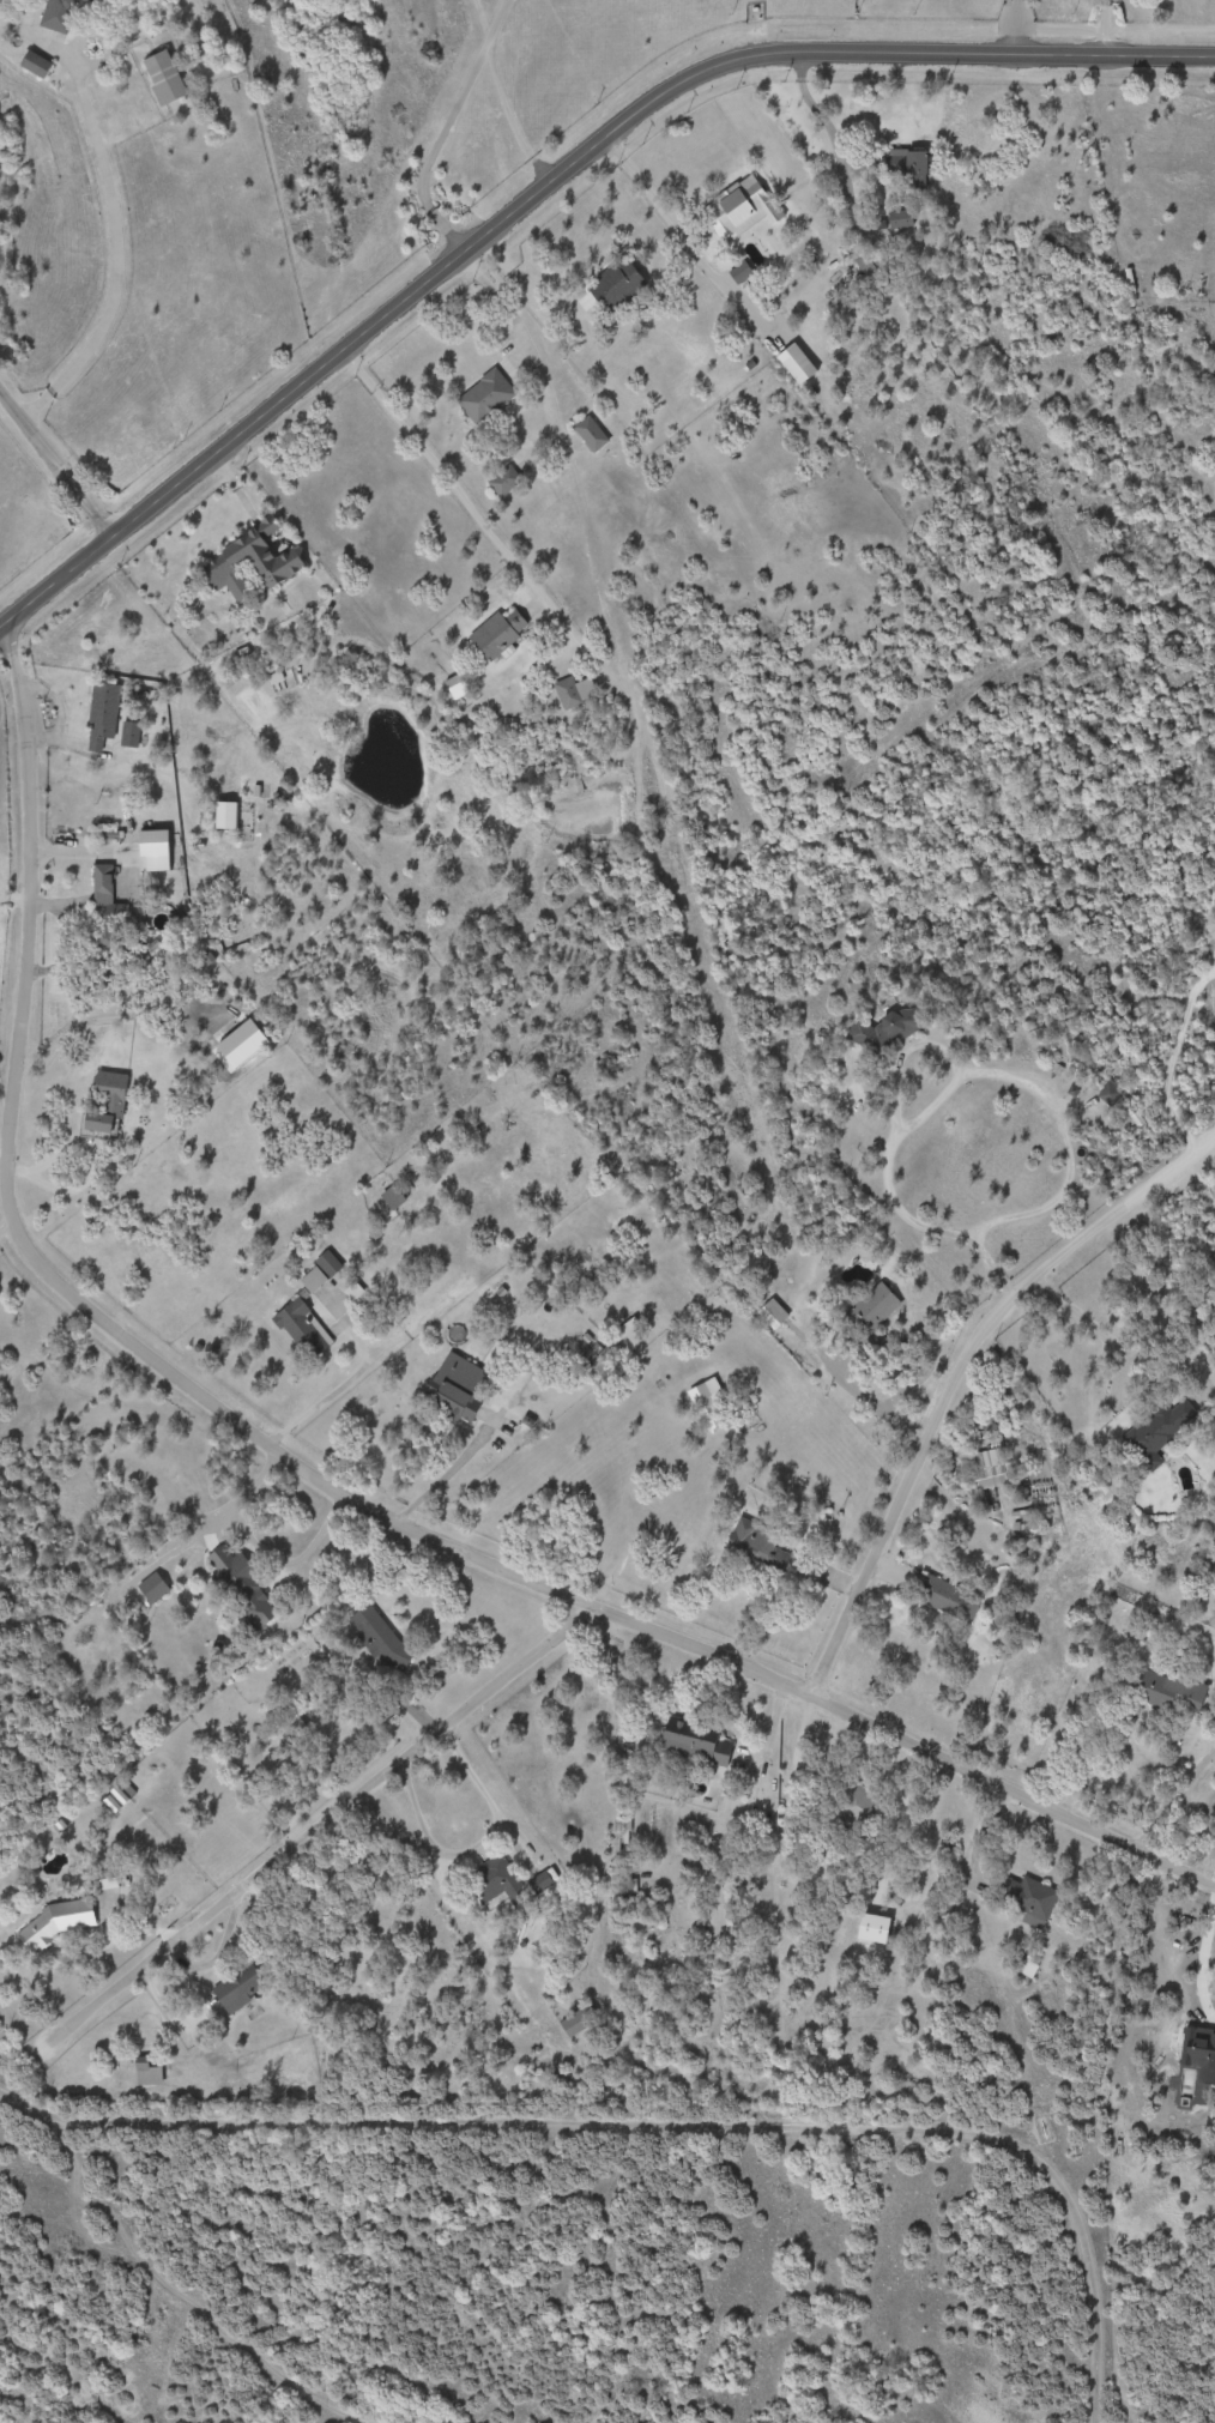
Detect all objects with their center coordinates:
building: (87, 1)
building: (59, 14)
road: (478, 23)
road: (1007, 26)
road: (1102, 26)
building: (38, 65)
building: (164, 78)
road: (503, 91)
road: (822, 123)
road: (435, 149)
building: (907, 165)
road: (548, 183)
building: (735, 206)
road: (109, 211)
building: (897, 218)
road: (677, 232)
building: (738, 272)
building: (615, 284)
road: (500, 302)
building: (1209, 373)
building: (484, 397)
building: (590, 434)
road: (54, 466)
road: (443, 476)
building: (502, 481)
building: (278, 561)
building: (497, 633)
building: (574, 691)
building: (103, 717)
building: (131, 735)
building: (105, 911)
building: (887, 1029)
road: (929, 1038)
road: (1168, 1056)
building: (1110, 1092)
building: (108, 1102)
building: (394, 1198)
road: (5, 1223)
building: (877, 1301)
building: (774, 1313)
road: (1090, 1324)
building: (304, 1328)
road: (133, 1341)
road: (953, 1371)
road: (343, 1378)
building: (457, 1386)
building: (705, 1391)
building: (1161, 1428)
building: (990, 1468)
road: (436, 1476)
building: (757, 1545)
road: (259, 1547)
building: (153, 1587)
building: (240, 1588)
building: (947, 1597)
building: (379, 1638)
building: (1169, 1691)
building: (700, 1744)
road: (1007, 1787)
road: (314, 1825)
road: (977, 1838)
road: (477, 1843)
road: (1204, 1853)
building: (104, 1879)
building: (510, 1880)
building: (1035, 1903)
road: (141, 1915)
building: (62, 1920)
building: (240, 1986)
building: (579, 2020)
building: (147, 2072)
road: (654, 2122)

